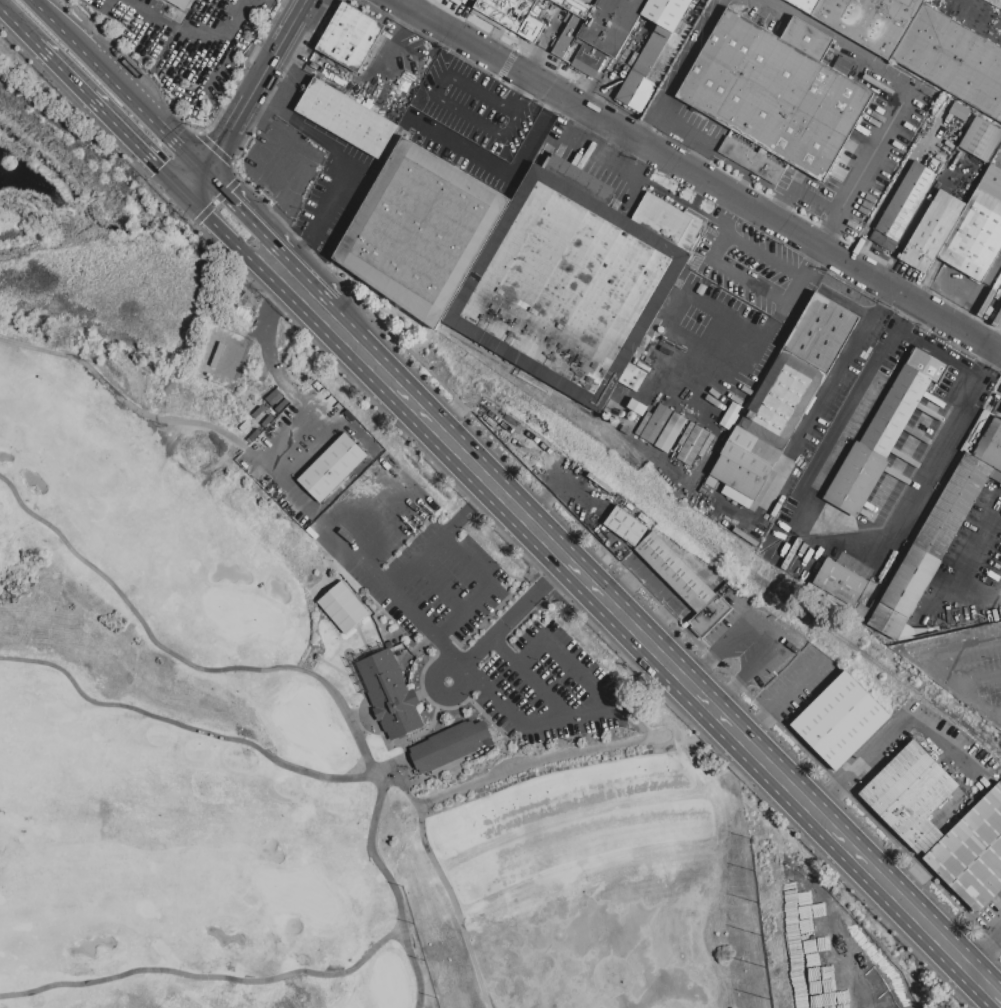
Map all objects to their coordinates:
building: (455, 0)
building: (463, 1)
building: (476, 1)
building: (590, 2)
road: (965, 2)
building: (180, 3)
building: (805, 5)
building: (575, 7)
road: (46, 10)
building: (666, 12)
building: (513, 15)
road: (152, 19)
building: (870, 21)
building: (611, 23)
road: (18, 26)
building: (682, 29)
building: (567, 35)
building: (350, 36)
road: (839, 37)
building: (658, 54)
building: (953, 58)
road: (380, 64)
road: (104, 68)
road: (678, 71)
road: (502, 78)
road: (255, 84)
building: (636, 92)
road: (190, 93)
road: (517, 93)
building: (774, 95)
road: (443, 100)
building: (960, 112)
road: (110, 116)
building: (346, 117)
road: (607, 125)
road: (198, 134)
building: (981, 138)
road: (178, 143)
road: (693, 158)
road: (863, 168)
traffic signals: (205, 169)
road: (748, 172)
road: (343, 174)
road: (505, 174)
building: (580, 178)
road: (194, 180)
road: (238, 182)
road: (744, 187)
traffic signals: (184, 191)
building: (905, 201)
road: (779, 207)
road: (729, 216)
building: (667, 222)
building: (421, 230)
building: (932, 232)
road: (267, 234)
building: (975, 235)
road: (233, 239)
road: (762, 255)
road: (812, 264)
road: (737, 273)
building: (566, 286)
road: (796, 290)
road: (684, 295)
road: (294, 300)
road: (911, 302)
road: (330, 309)
road: (317, 315)
road: (722, 332)
road: (269, 355)
building: (800, 369)
building: (631, 377)
road: (118, 396)
railway: (500, 400)
railway: (602, 424)
building: (663, 428)
road: (805, 430)
building: (883, 432)
road: (285, 438)
building: (692, 444)
building: (991, 447)
railway: (581, 457)
road: (369, 460)
building: (746, 461)
building: (333, 466)
road: (800, 519)
building: (625, 526)
road: (390, 527)
road: (334, 528)
building: (930, 546)
building: (841, 582)
building: (684, 584)
road: (982, 594)
road: (476, 600)
building: (344, 607)
parking lot: (467, 611)
road: (508, 619)
road: (451, 626)
road: (763, 635)
road: (960, 646)
railway: (866, 653)
road: (667, 656)
road: (180, 658)
road: (531, 676)
road: (979, 680)
road: (483, 681)
park: (323, 685)
road: (960, 687)
building: (388, 690)
road: (783, 698)
road: (996, 713)
building: (840, 721)
road: (182, 725)
railway: (965, 730)
road: (890, 733)
railway: (987, 738)
building: (447, 745)
building: (911, 794)
building: (972, 852)
park: (592, 888)
road: (392, 890)
road: (983, 947)
road: (204, 975)

